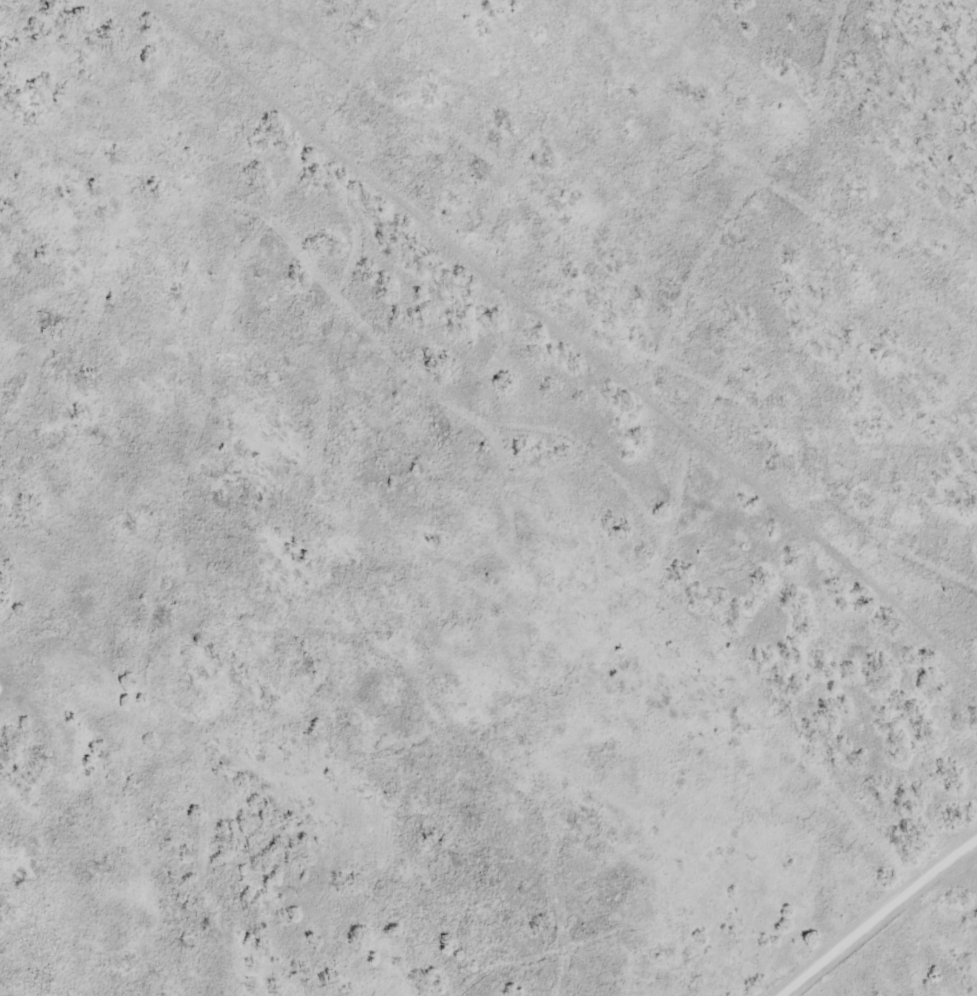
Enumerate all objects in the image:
road: (879, 917)

